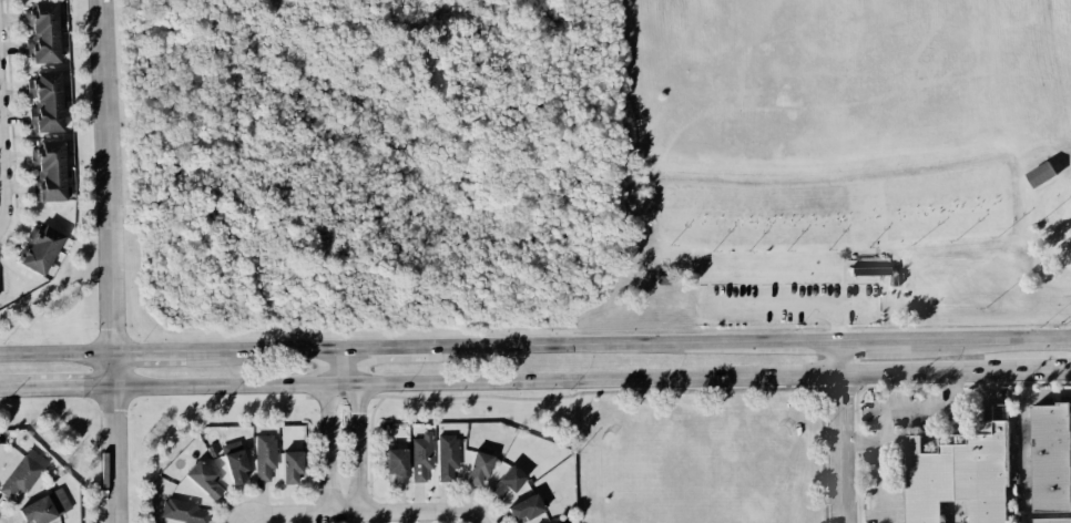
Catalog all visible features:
building: (42, 32)
building: (44, 101)
building: (48, 172)
building: (1040, 174)
road: (105, 193)
building: (41, 249)
building: (869, 271)
road: (992, 340)
road: (876, 342)
road: (635, 346)
road: (395, 348)
road: (293, 350)
road: (169, 353)
road: (54, 355)
road: (955, 371)
road: (475, 382)
road: (73, 387)
road: (19, 388)
road: (1045, 398)
road: (888, 417)
road: (328, 430)
road: (358, 430)
road: (841, 432)
road: (110, 454)
building: (264, 457)
building: (421, 457)
building: (447, 457)
building: (1051, 458)
building: (234, 461)
road: (1022, 461)
building: (396, 464)
building: (290, 468)
building: (478, 468)
building: (23, 473)
building: (958, 478)
building: (204, 480)
building: (507, 482)
building: (44, 507)
building: (526, 507)
building: (182, 511)
road: (361, 511)
building: (1052, 520)
road: (477, 521)

